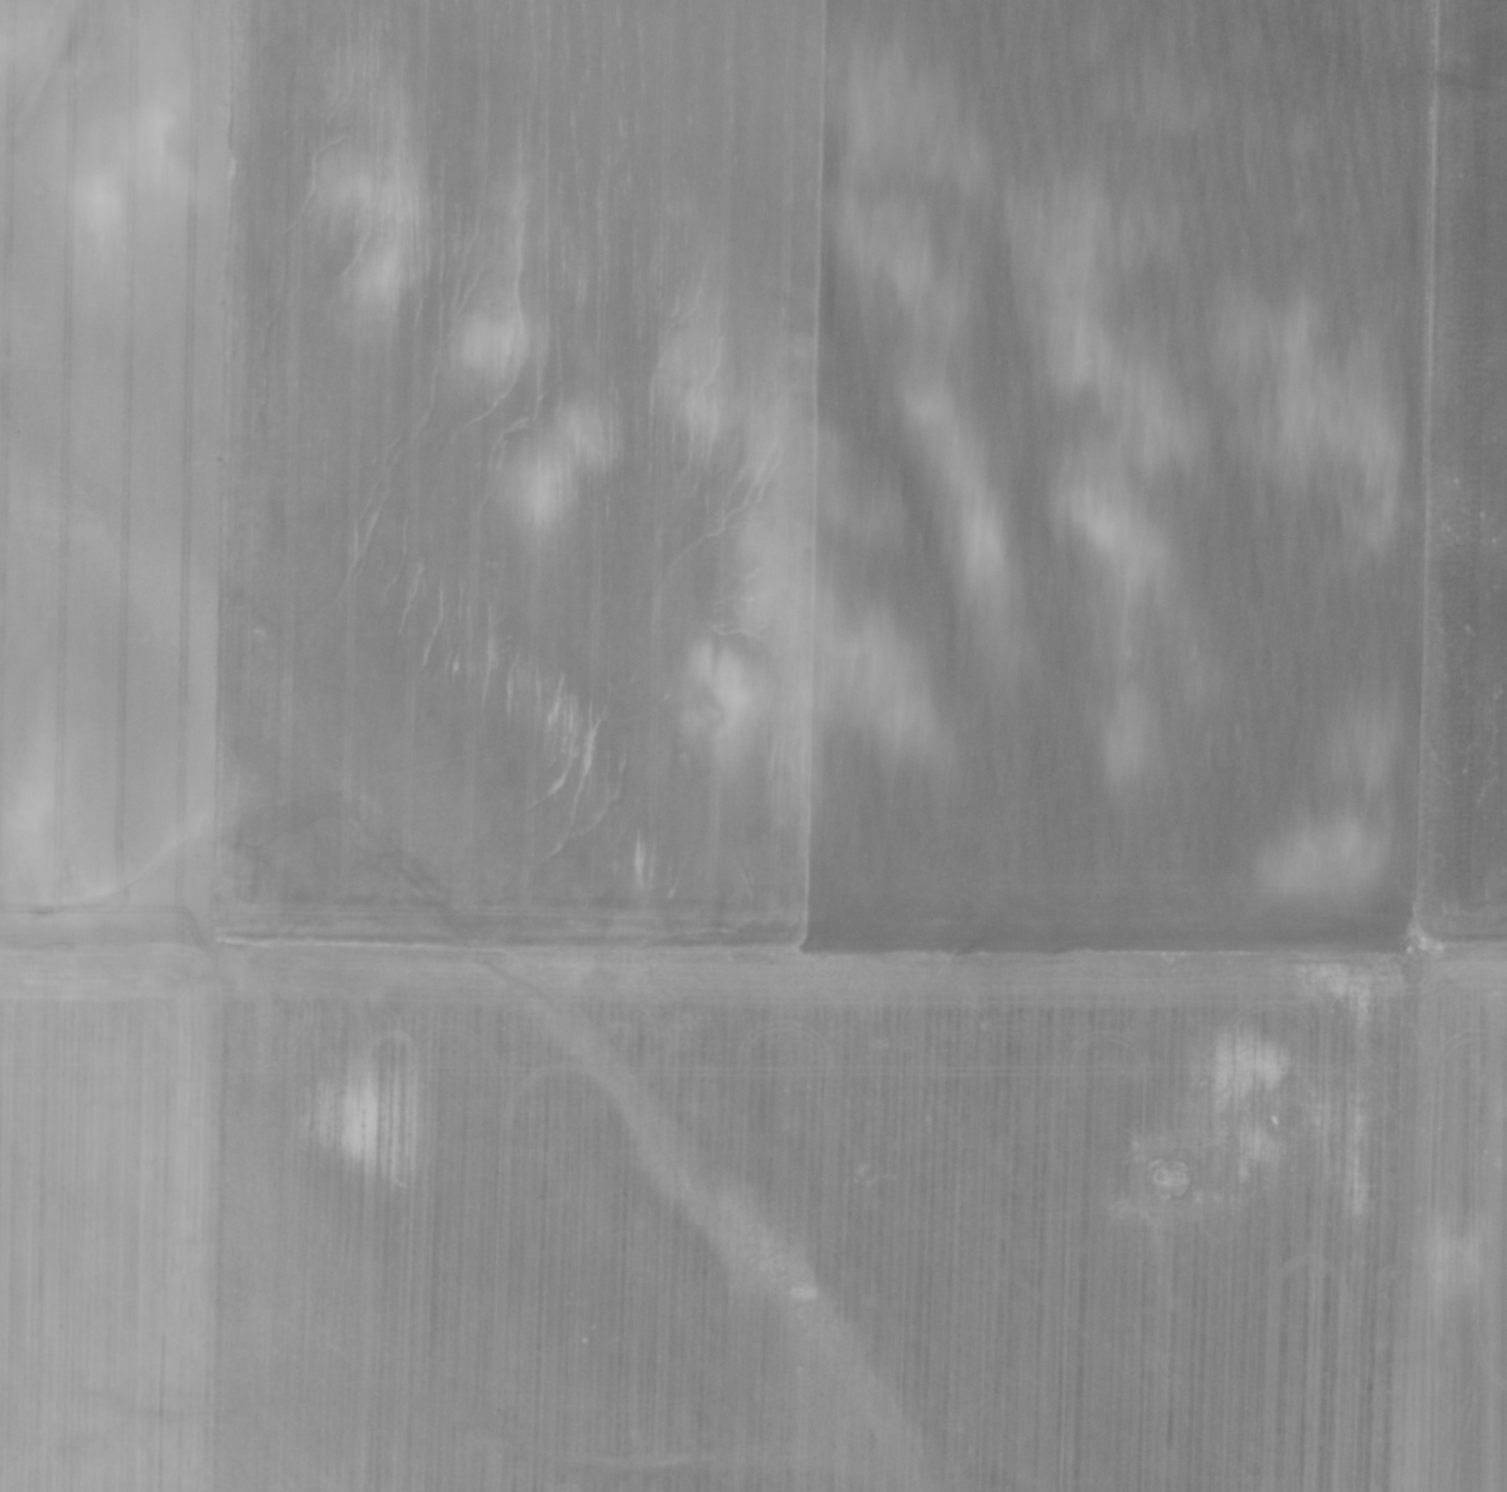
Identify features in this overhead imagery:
crop: (753, 746)

